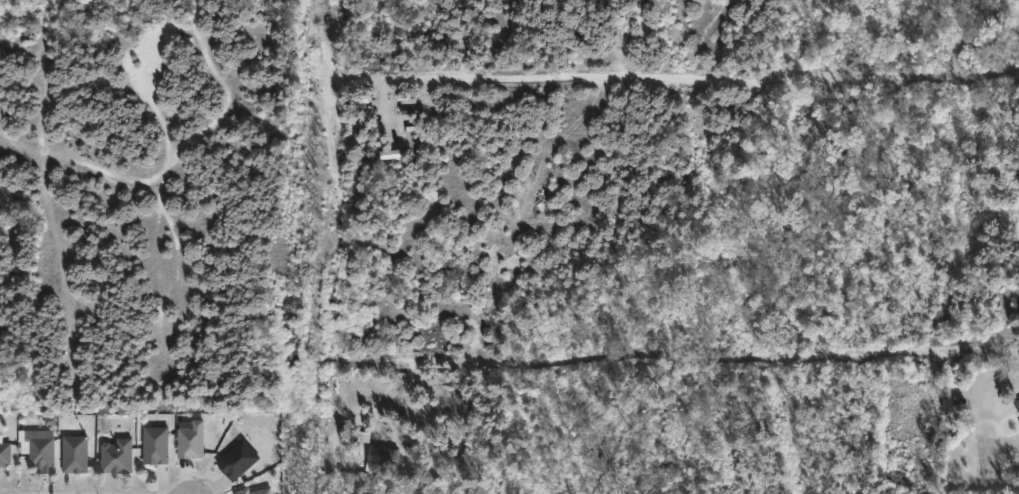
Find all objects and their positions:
road: (334, 1)
road: (676, 82)
road: (332, 248)
road: (677, 362)
building: (1017, 404)
building: (191, 441)
building: (154, 446)
building: (40, 449)
building: (4, 454)
building: (74, 454)
building: (116, 457)
building: (237, 459)
building: (380, 459)

